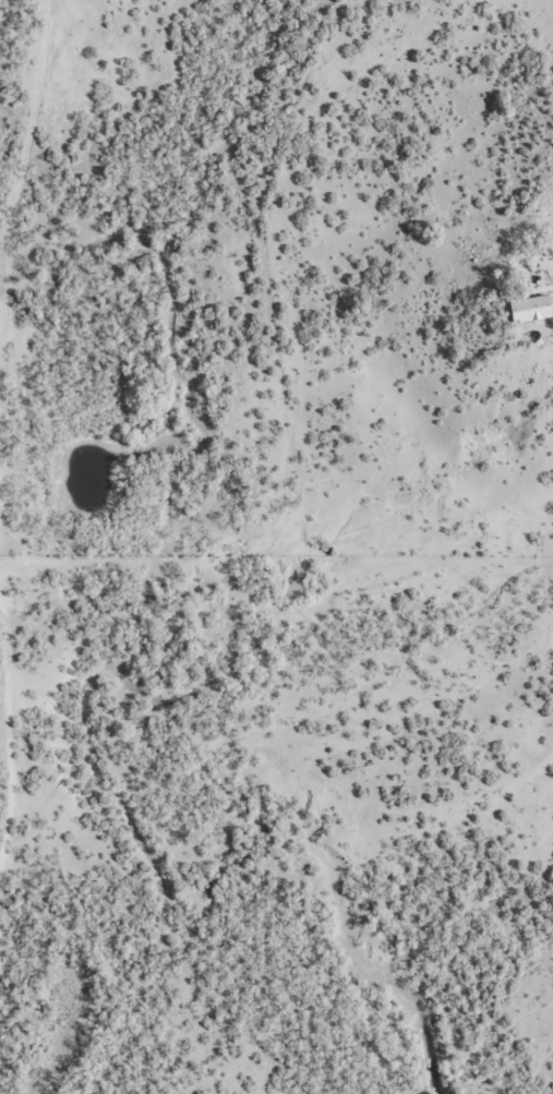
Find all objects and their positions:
building: (529, 309)

